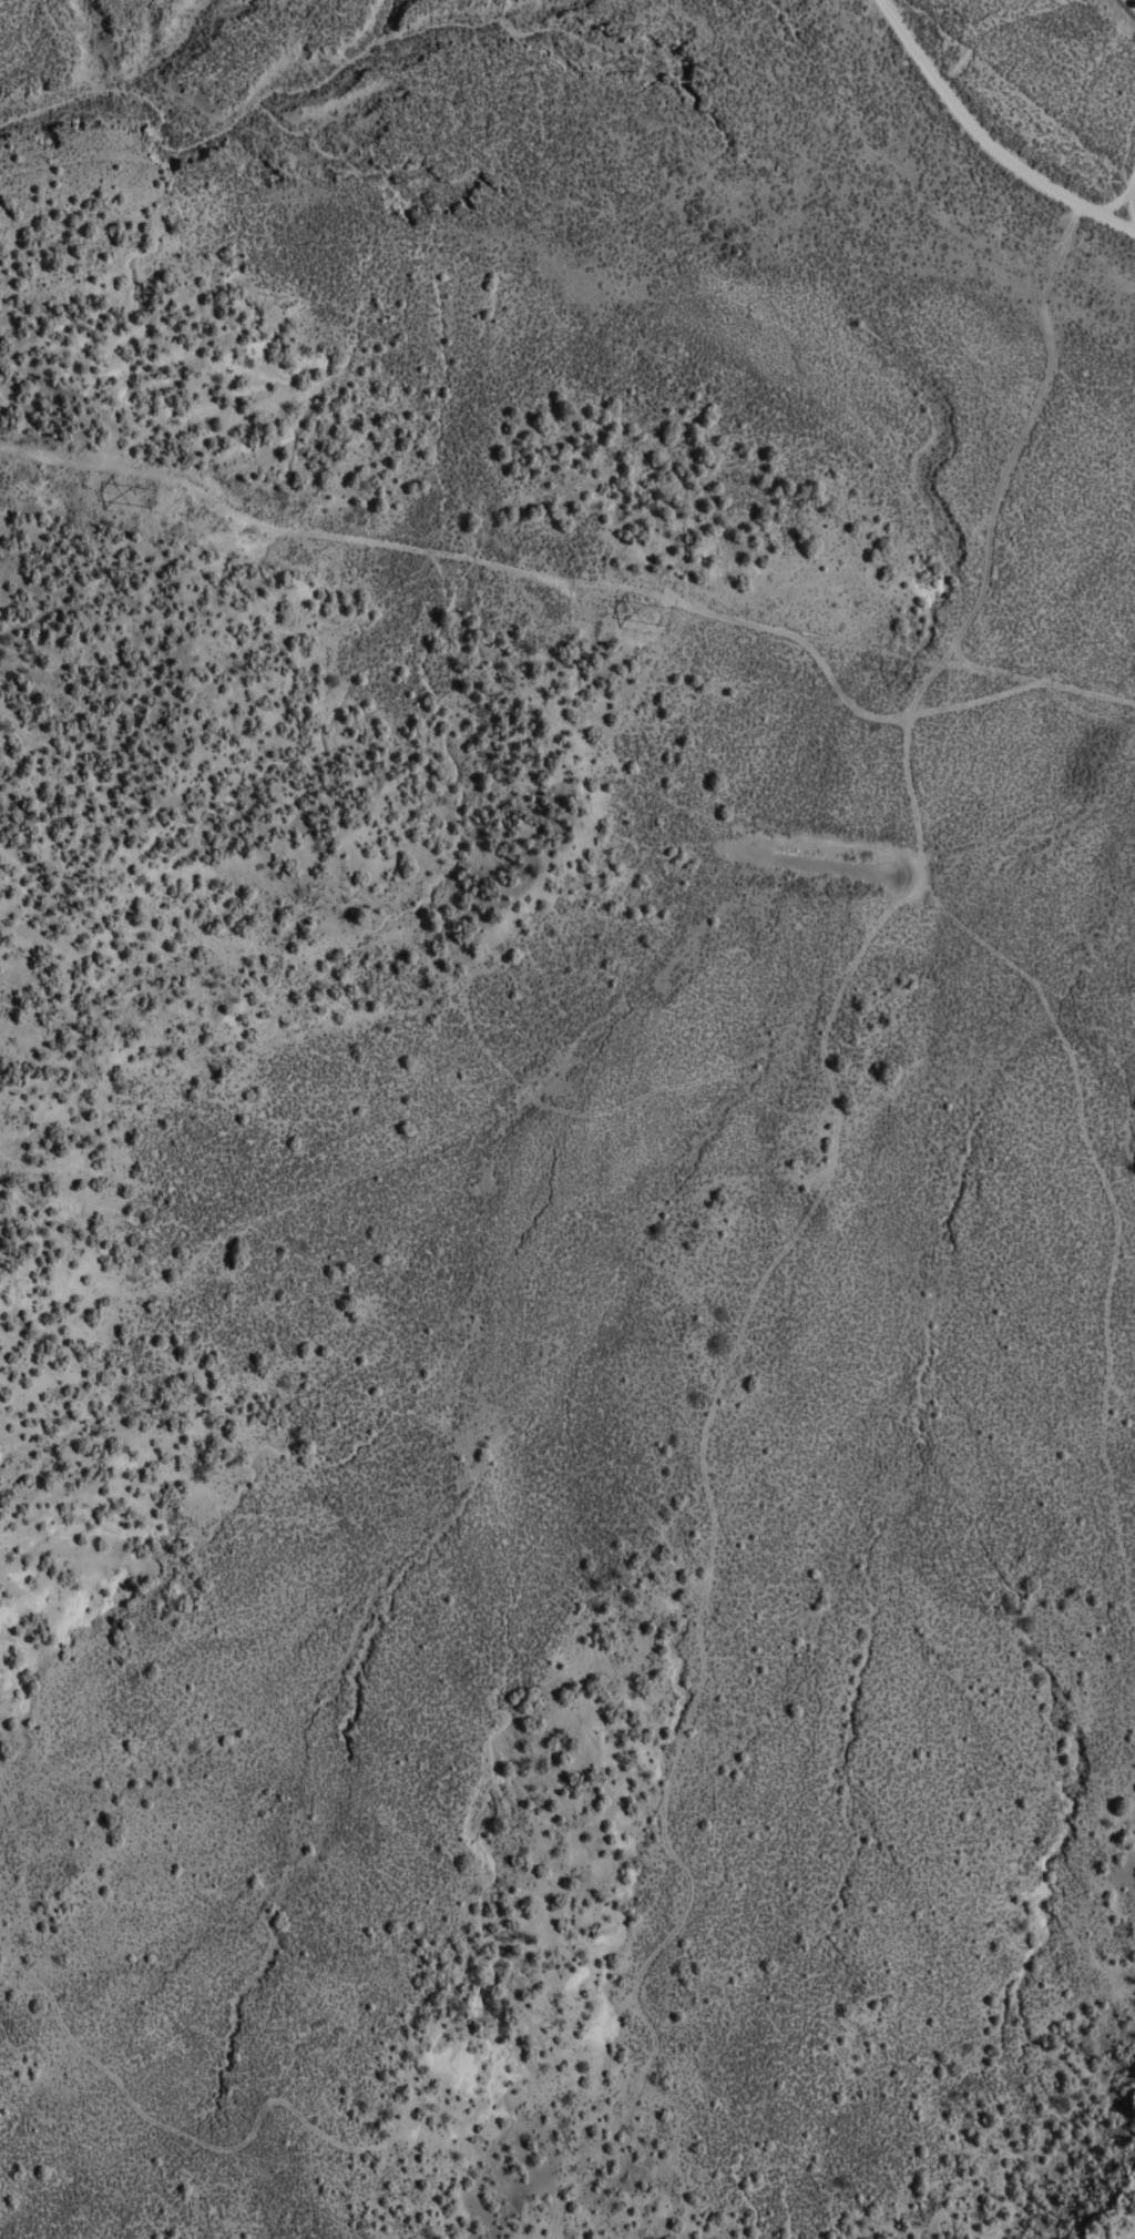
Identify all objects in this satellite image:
road: (990, 121)
river: (243, 143)
river: (965, 167)
power tower: (147, 498)
power tower: (672, 618)

